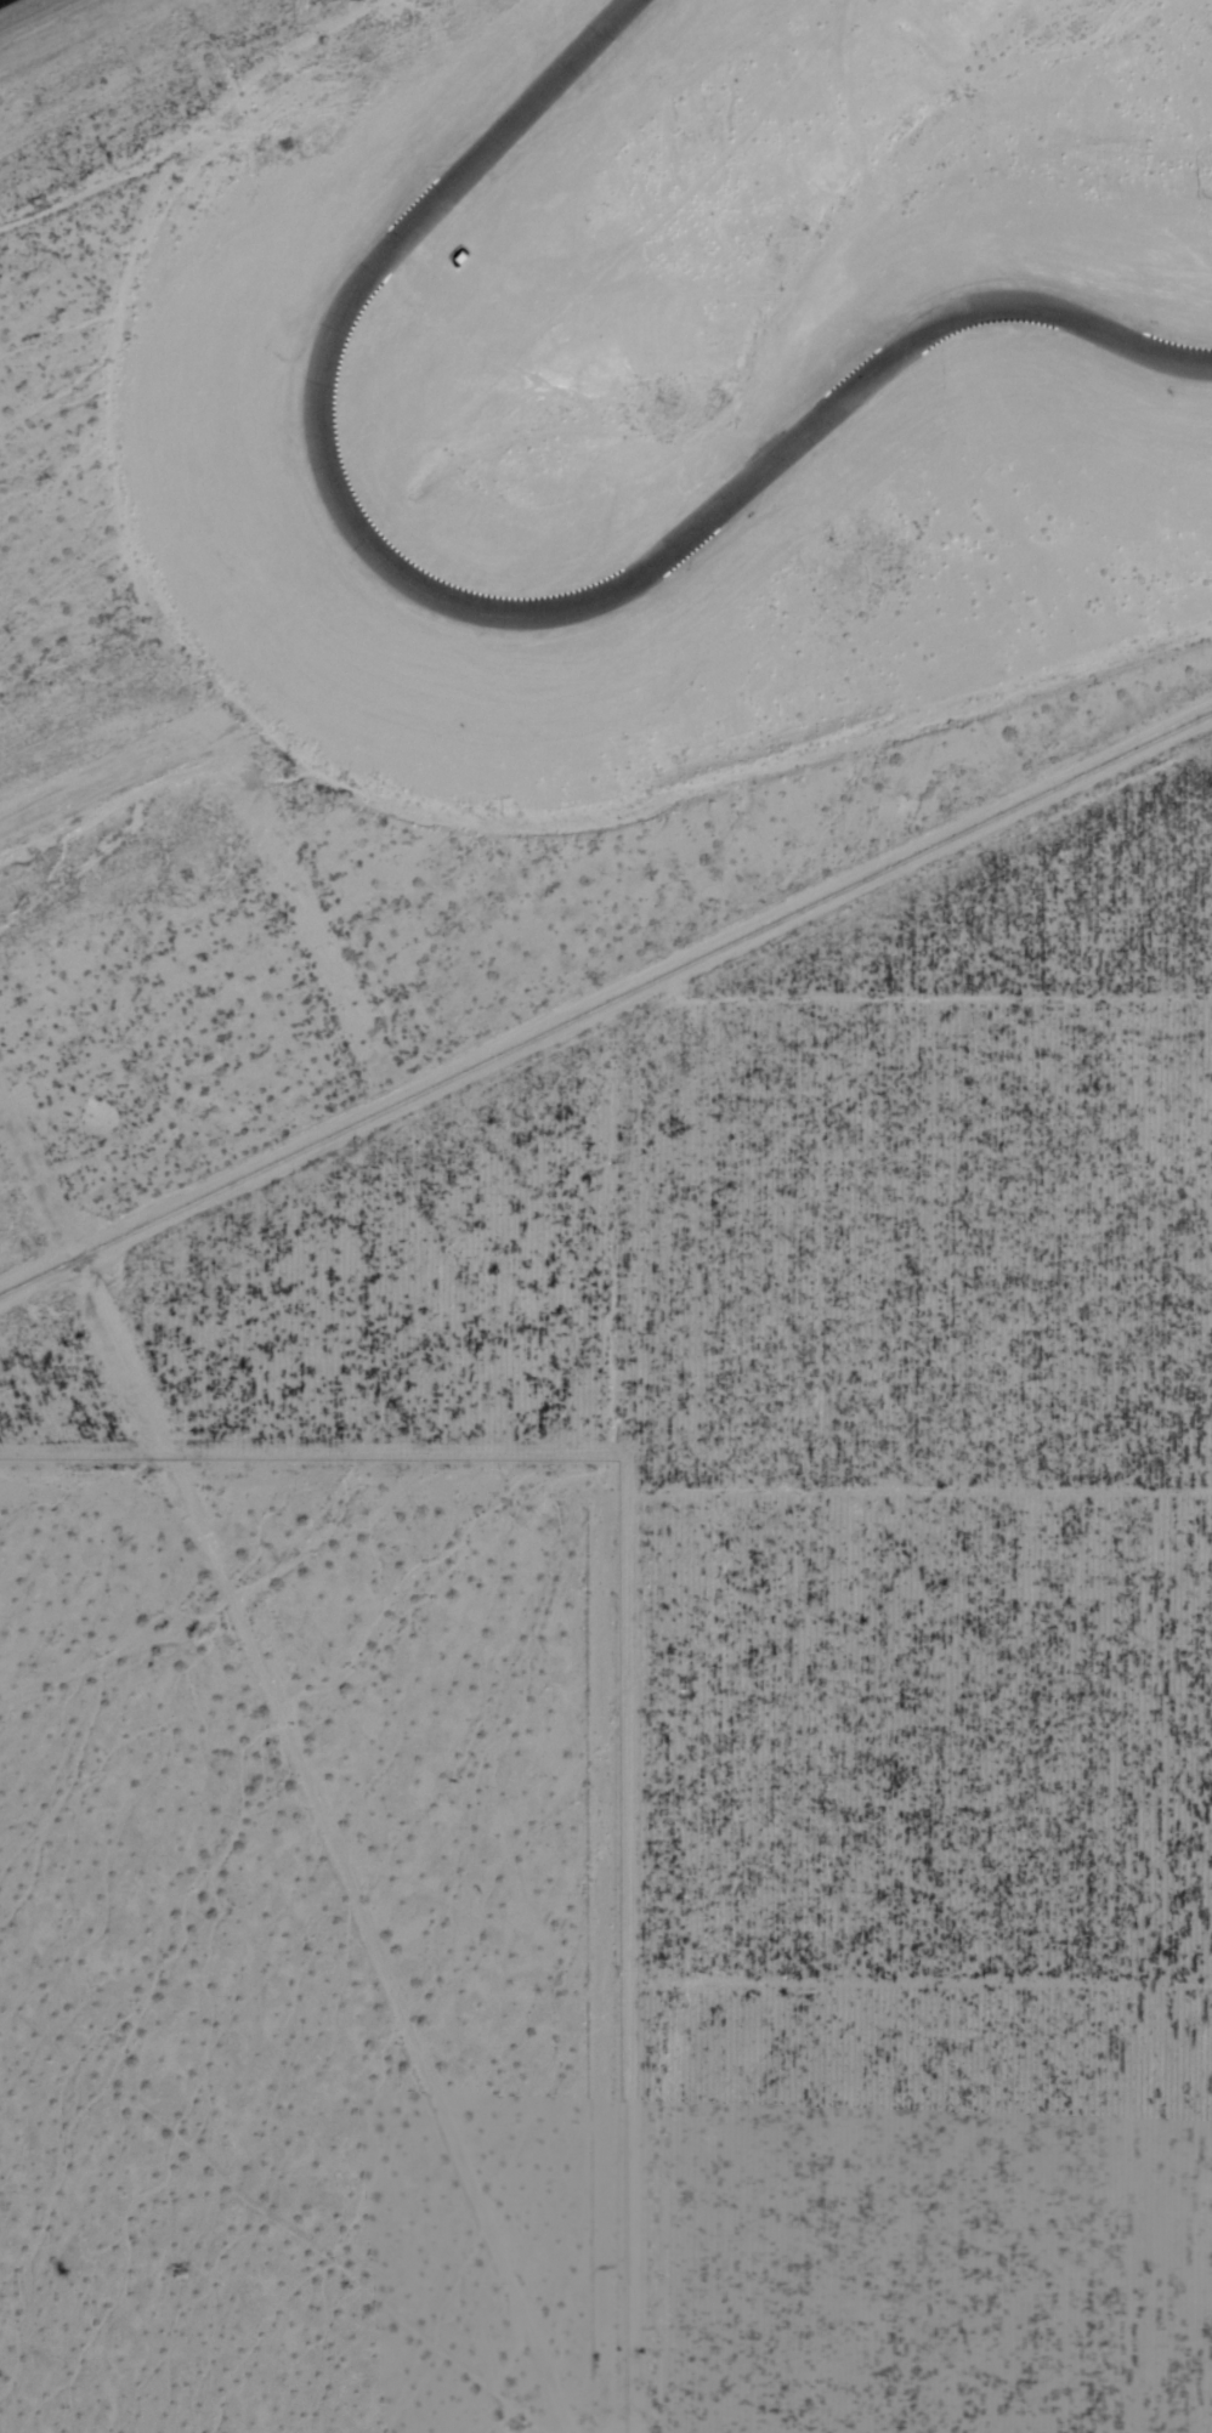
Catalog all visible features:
airport: (108, 53)
raceway: (500, 611)
crop: (646, 1711)

